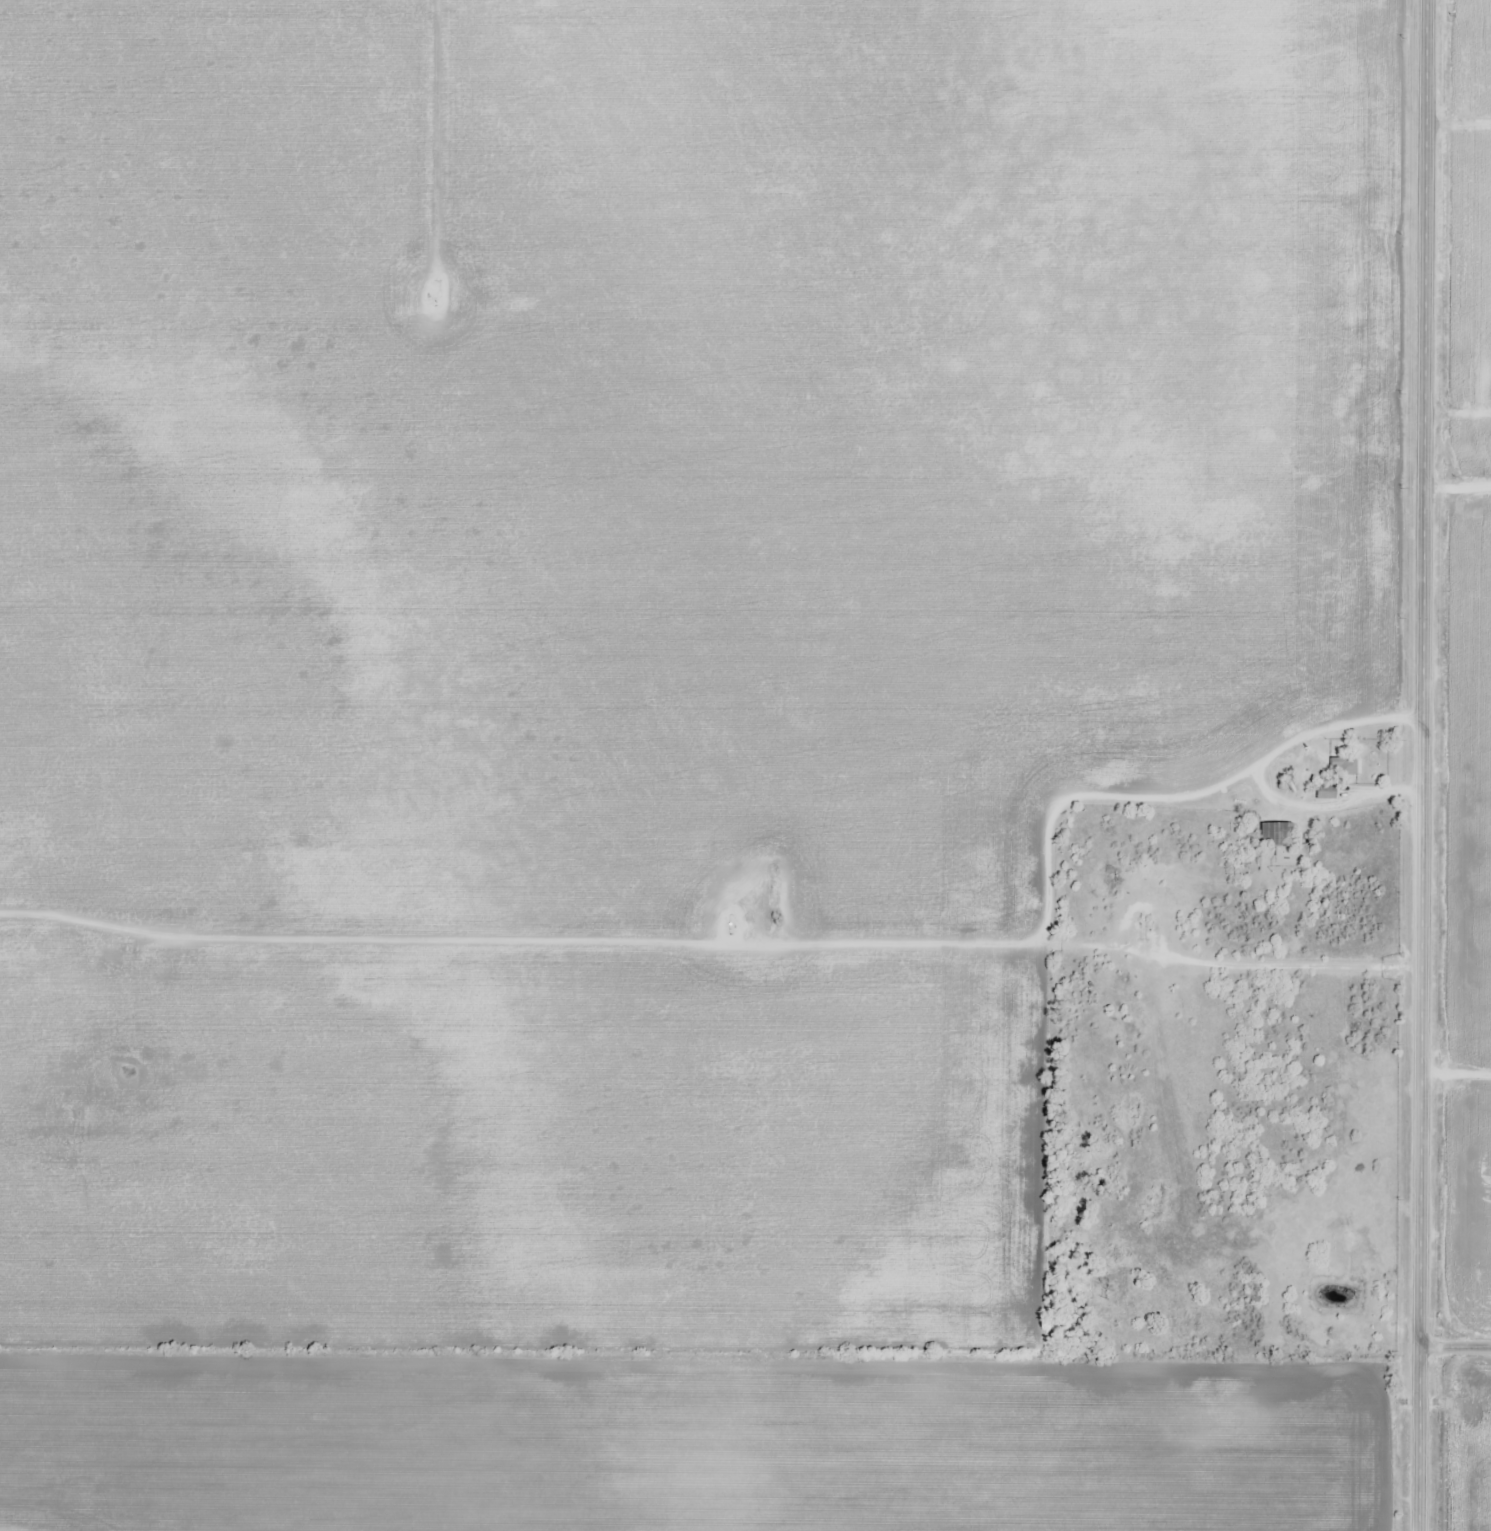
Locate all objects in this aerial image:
road: (1421, 765)
building: (1324, 791)
road: (1455, 1344)

